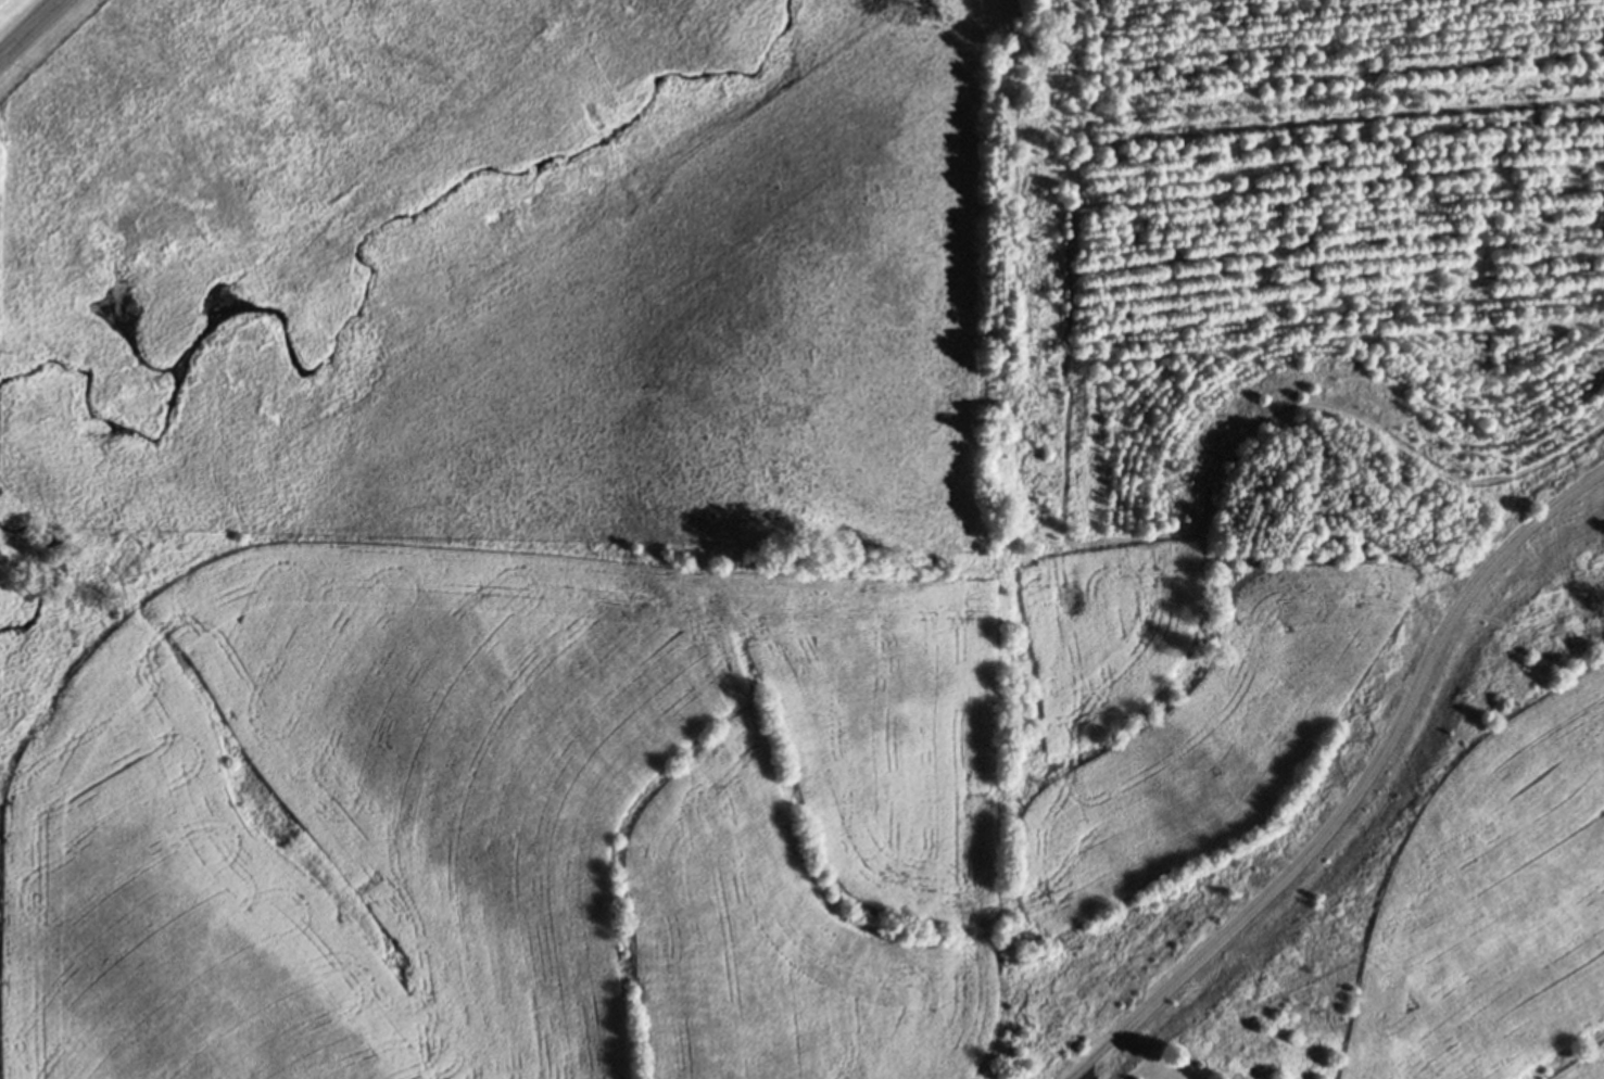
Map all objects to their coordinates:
road: (30, 28)
road: (1359, 789)

